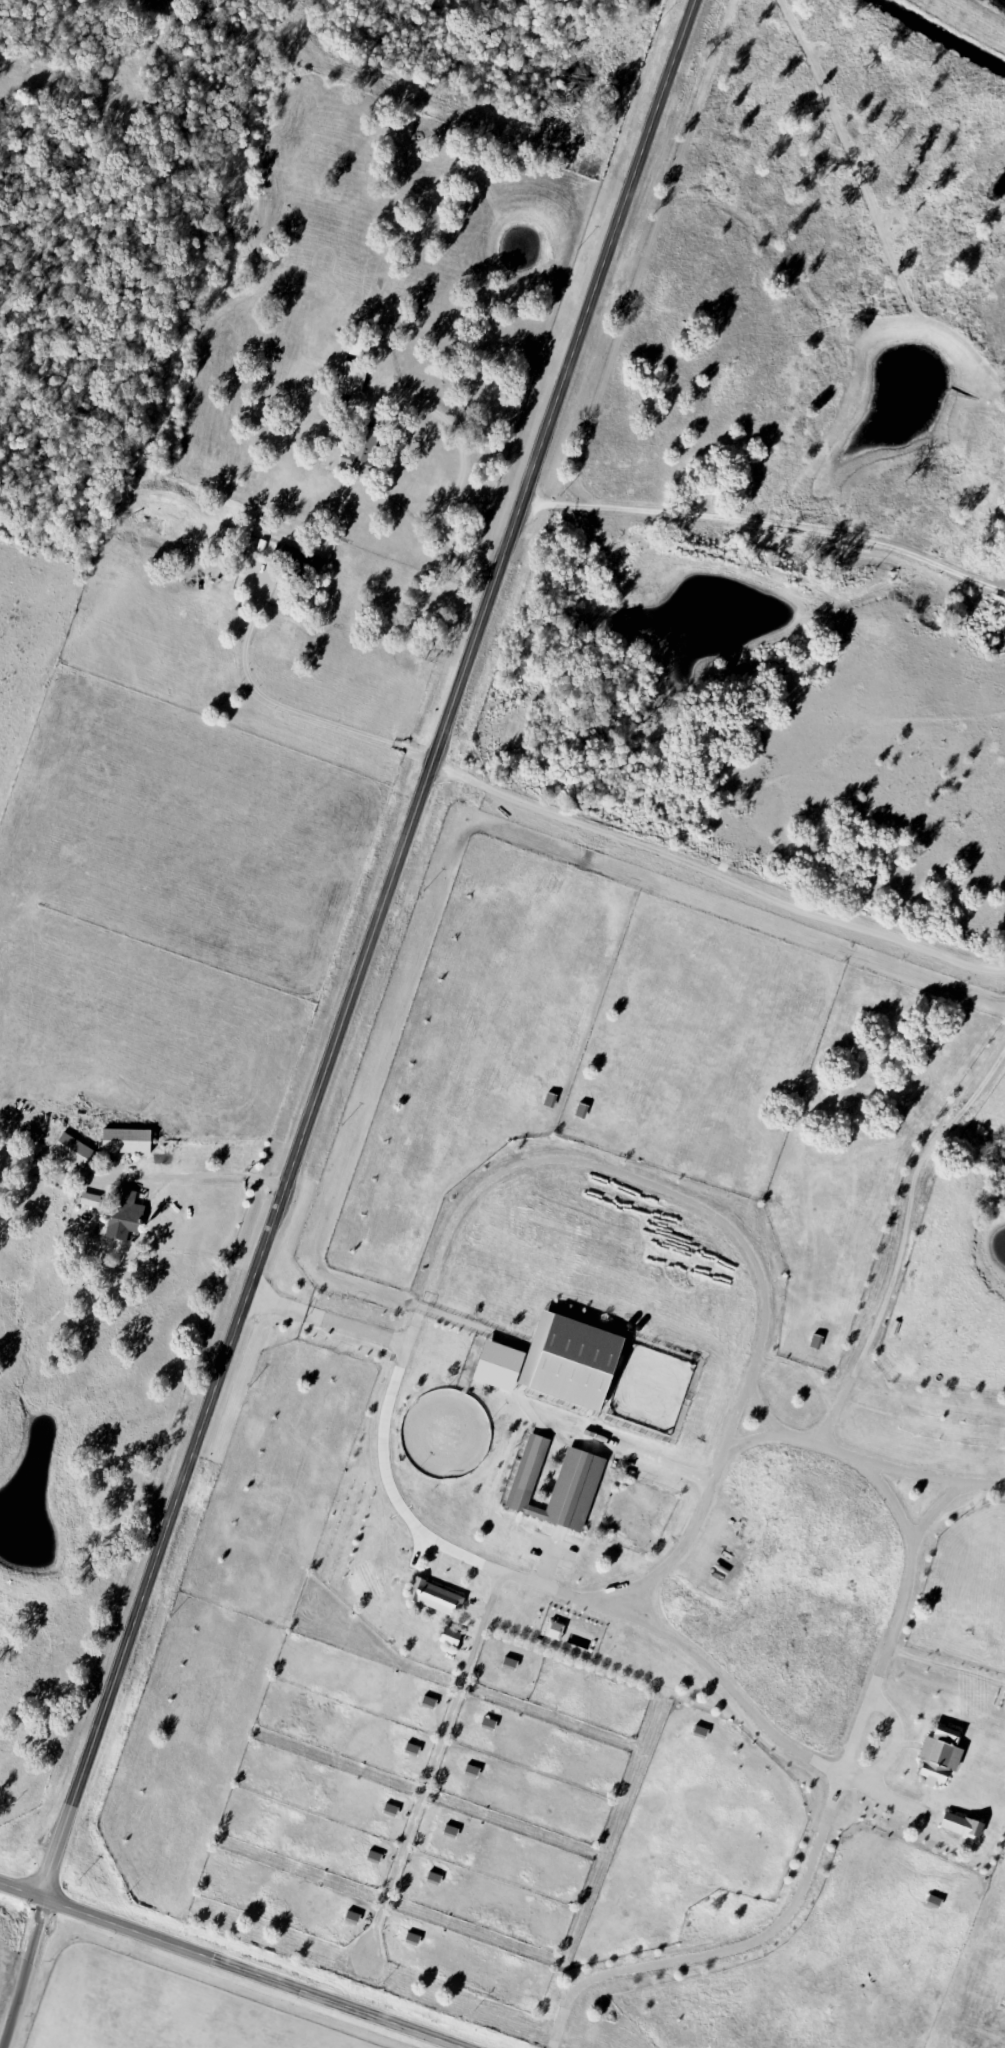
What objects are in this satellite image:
building: (351, 380)
road: (565, 380)
building: (359, 446)
road: (770, 500)
building: (296, 560)
road: (717, 858)
building: (124, 1141)
building: (70, 1154)
road: (207, 1177)
building: (88, 1200)
building: (118, 1214)
road: (238, 1330)
building: (566, 1361)
building: (494, 1366)
building: (555, 1485)
building: (433, 1597)
building: (553, 1631)
building: (448, 1637)
road: (683, 1645)
building: (960, 1826)
road: (21, 1958)
road: (232, 1965)

